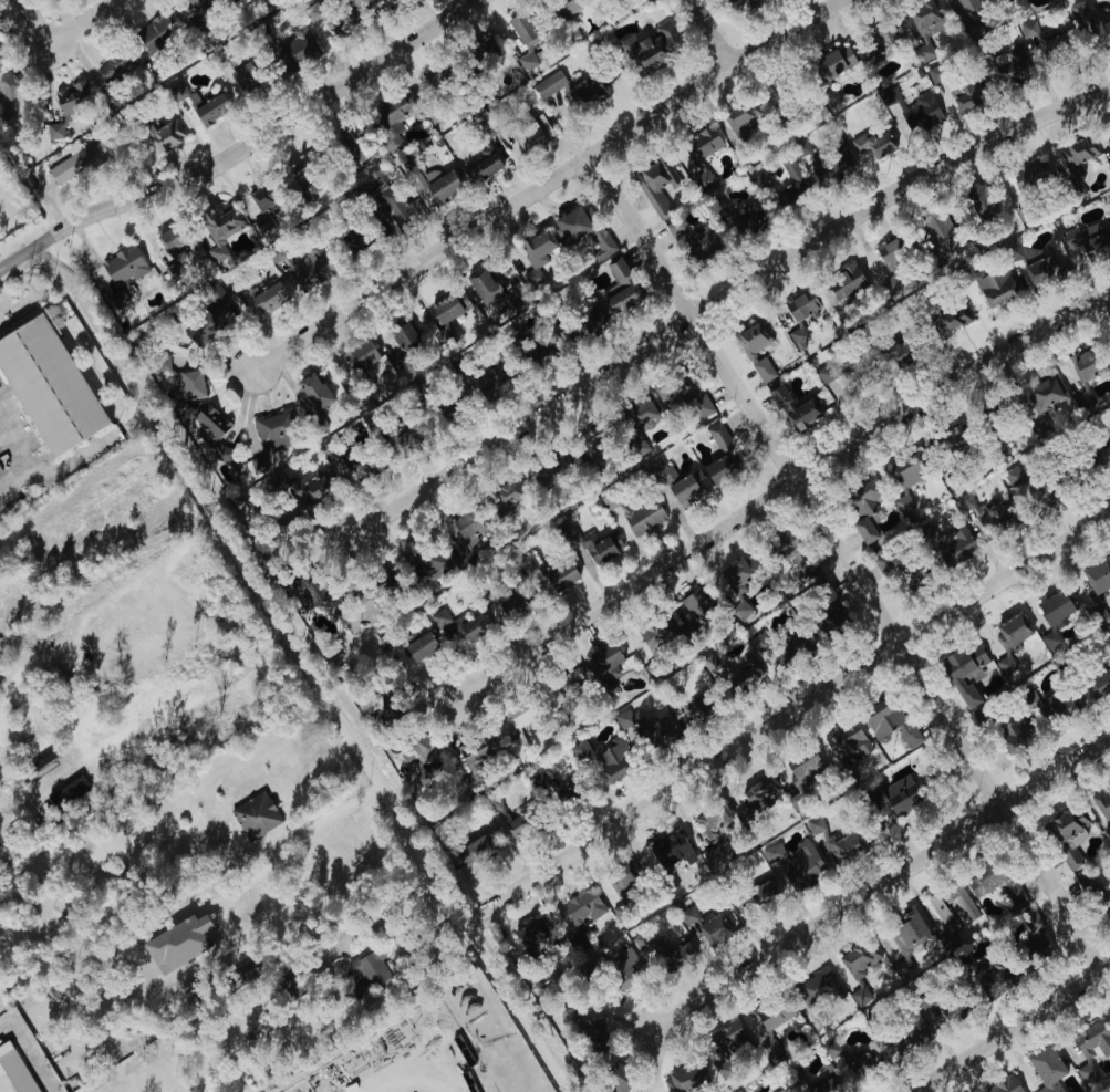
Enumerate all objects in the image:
building: (367, 2)
building: (739, 3)
building: (967, 3)
building: (196, 11)
road: (35, 21)
road: (82, 21)
building: (1088, 25)
building: (923, 29)
building: (517, 31)
road: (709, 31)
building: (155, 32)
building: (1042, 39)
building: (293, 48)
building: (646, 49)
building: (488, 51)
building: (850, 58)
building: (1005, 66)
building: (116, 67)
building: (243, 79)
building: (8, 86)
building: (568, 90)
building: (966, 95)
building: (829, 98)
building: (199, 103)
building: (69, 105)
building: (921, 114)
building: (391, 119)
building: (737, 122)
building: (1109, 129)
building: (529, 132)
building: (164, 135)
road: (257, 137)
building: (1109, 138)
building: (699, 144)
building: (868, 145)
building: (799, 149)
building: (76, 160)
building: (1073, 163)
building: (480, 167)
building: (822, 169)
building: (294, 173)
building: (788, 178)
building: (701, 180)
building: (427, 181)
road: (551, 183)
building: (652, 186)
building: (259, 197)
building: (979, 201)
building: (400, 207)
building: (753, 216)
building: (262, 221)
building: (569, 223)
building: (217, 230)
building: (676, 231)
building: (938, 231)
building: (1087, 239)
building: (708, 242)
building: (592, 243)
building: (170, 251)
building: (535, 253)
road: (14, 258)
building: (890, 262)
building: (304, 266)
building: (1046, 268)
building: (116, 275)
building: (843, 283)
building: (995, 285)
building: (619, 287)
building: (488, 289)
building: (263, 295)
road: (724, 298)
building: (460, 300)
building: (800, 304)
building: (443, 308)
building: (954, 316)
building: (592, 319)
building: (444, 331)
building: (797, 335)
building: (401, 343)
building: (755, 349)
building: (896, 354)
building: (357, 355)
building: (1087, 362)
building: (159, 363)
building: (45, 386)
building: (187, 386)
building: (312, 391)
building: (1044, 392)
building: (682, 396)
building: (791, 410)
building: (636, 422)
building: (210, 426)
building: (1040, 427)
building: (273, 429)
building: (718, 437)
building: (1109, 438)
building: (953, 439)
building: (333, 455)
road: (69, 464)
building: (351, 467)
building: (550, 467)
building: (253, 468)
building: (717, 468)
road: (13, 474)
building: (1013, 476)
building: (904, 479)
building: (678, 483)
building: (300, 488)
road: (779, 490)
building: (505, 502)
building: (981, 513)
building: (865, 516)
building: (643, 517)
building: (460, 528)
building: (946, 543)
building: (601, 547)
building: (791, 554)
road: (849, 562)
building: (893, 565)
building: (557, 576)
building: (1098, 576)
building: (303, 591)
building: (819, 596)
building: (691, 600)
building: (513, 606)
building: (740, 609)
building: (1054, 615)
building: (458, 625)
building: (655, 632)
building: (1108, 639)
building: (416, 645)
building: (791, 646)
building: (621, 649)
building: (603, 662)
road: (307, 663)
building: (1005, 665)
building: (734, 667)
building: (962, 670)
building: (1092, 688)
building: (1027, 699)
building: (387, 705)
building: (1057, 713)
building: (517, 715)
road: (787, 715)
building: (623, 719)
building: (888, 720)
building: (655, 729)
building: (1010, 732)
building: (844, 743)
building: (415, 745)
building: (474, 752)
building: (603, 758)
building: (802, 767)
road: (317, 770)
building: (541, 783)
building: (66, 792)
building: (758, 795)
building: (900, 795)
building: (1102, 801)
building: (253, 815)
building: (504, 821)
building: (710, 830)
building: (1106, 832)
building: (1067, 834)
building: (832, 843)
building: (478, 846)
building: (672, 856)
road: (271, 862)
building: (796, 864)
building: (622, 875)
road: (884, 881)
building: (992, 881)
building: (1096, 891)
building: (756, 896)
building: (959, 899)
road: (383, 908)
building: (579, 911)
building: (687, 916)
building: (1034, 919)
building: (710, 932)
building: (536, 937)
building: (906, 942)
building: (178, 943)
building: (663, 949)
building: (1034, 956)
building: (621, 967)
building: (362, 968)
building: (859, 969)
building: (241, 971)
building: (993, 979)
building: (290, 985)
building: (818, 988)
building: (774, 1016)
road: (1010, 1028)
building: (905, 1033)
building: (729, 1038)
building: (768, 1047)
building: (1090, 1047)
building: (858, 1060)
building: (17, 1067)
building: (1046, 1069)
building: (683, 1079)
building: (805, 1083)
building: (1004, 1085)
building: (624, 1086)
building: (757, 1091)

